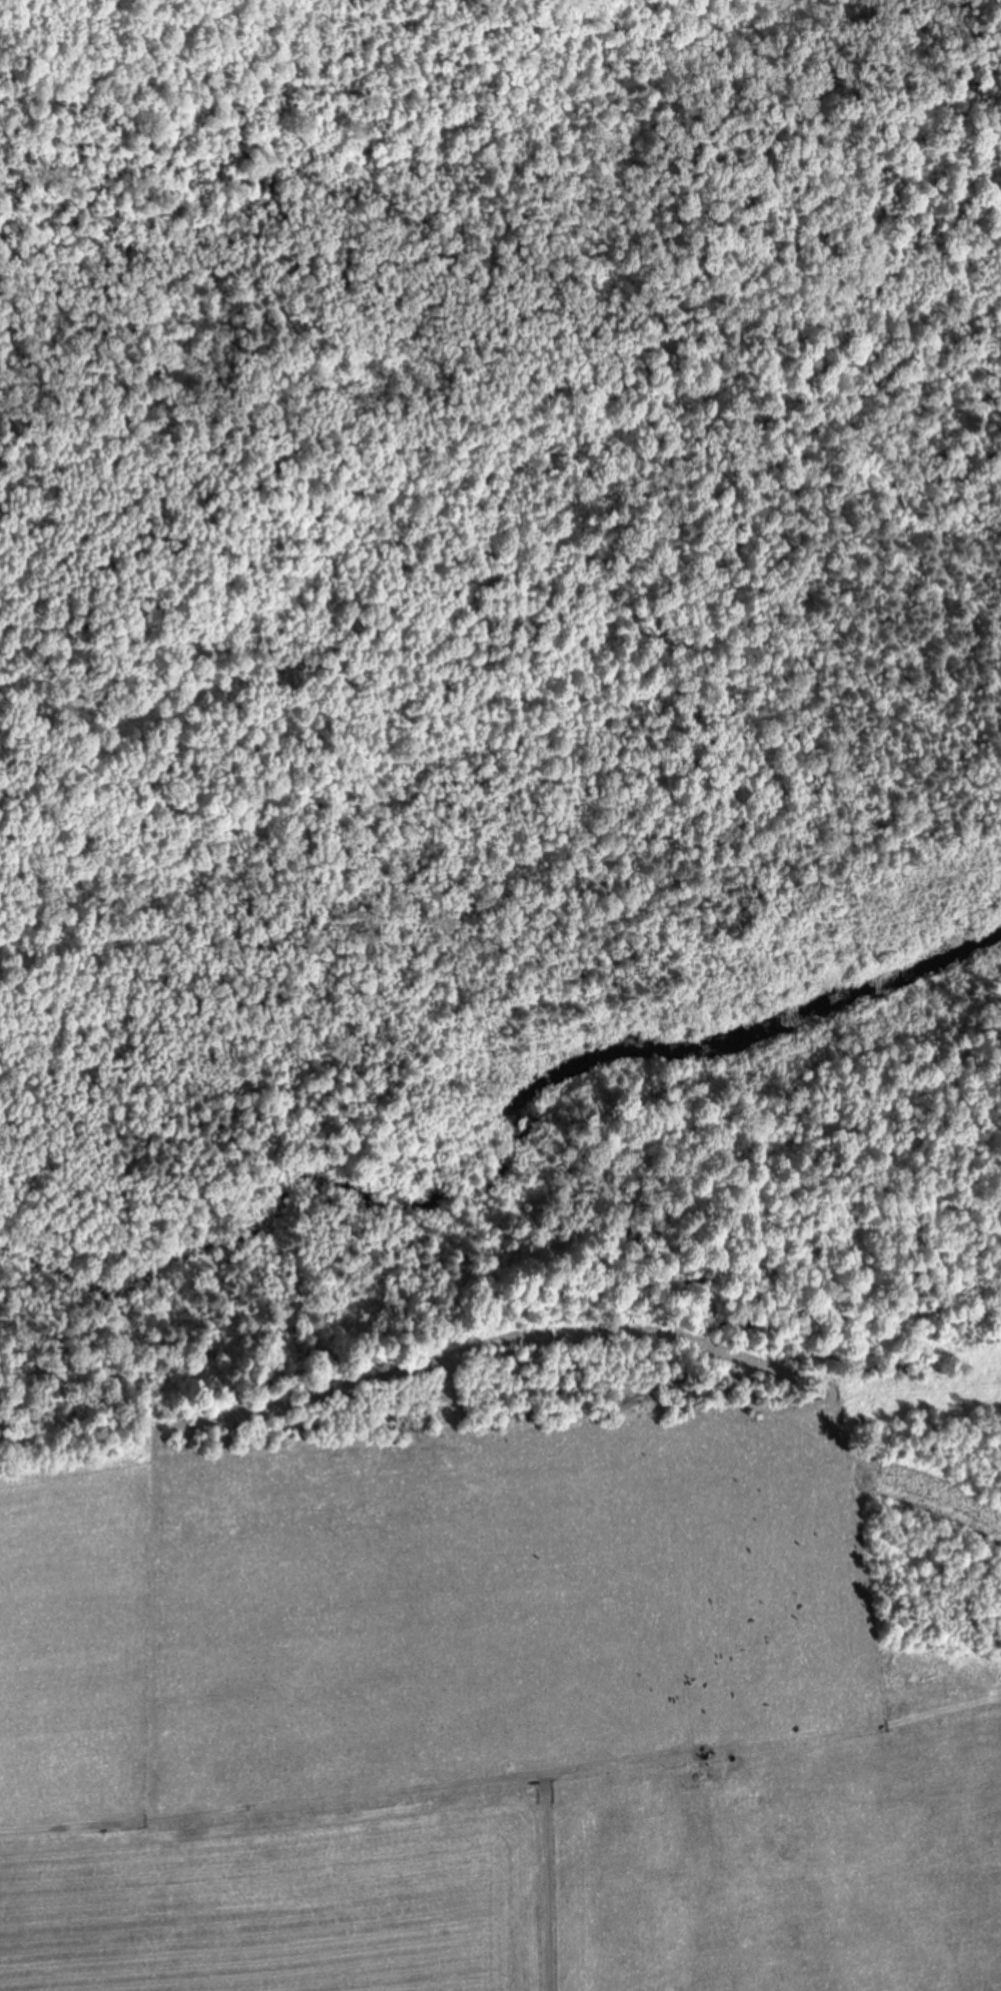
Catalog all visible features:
road: (431, 1804)

